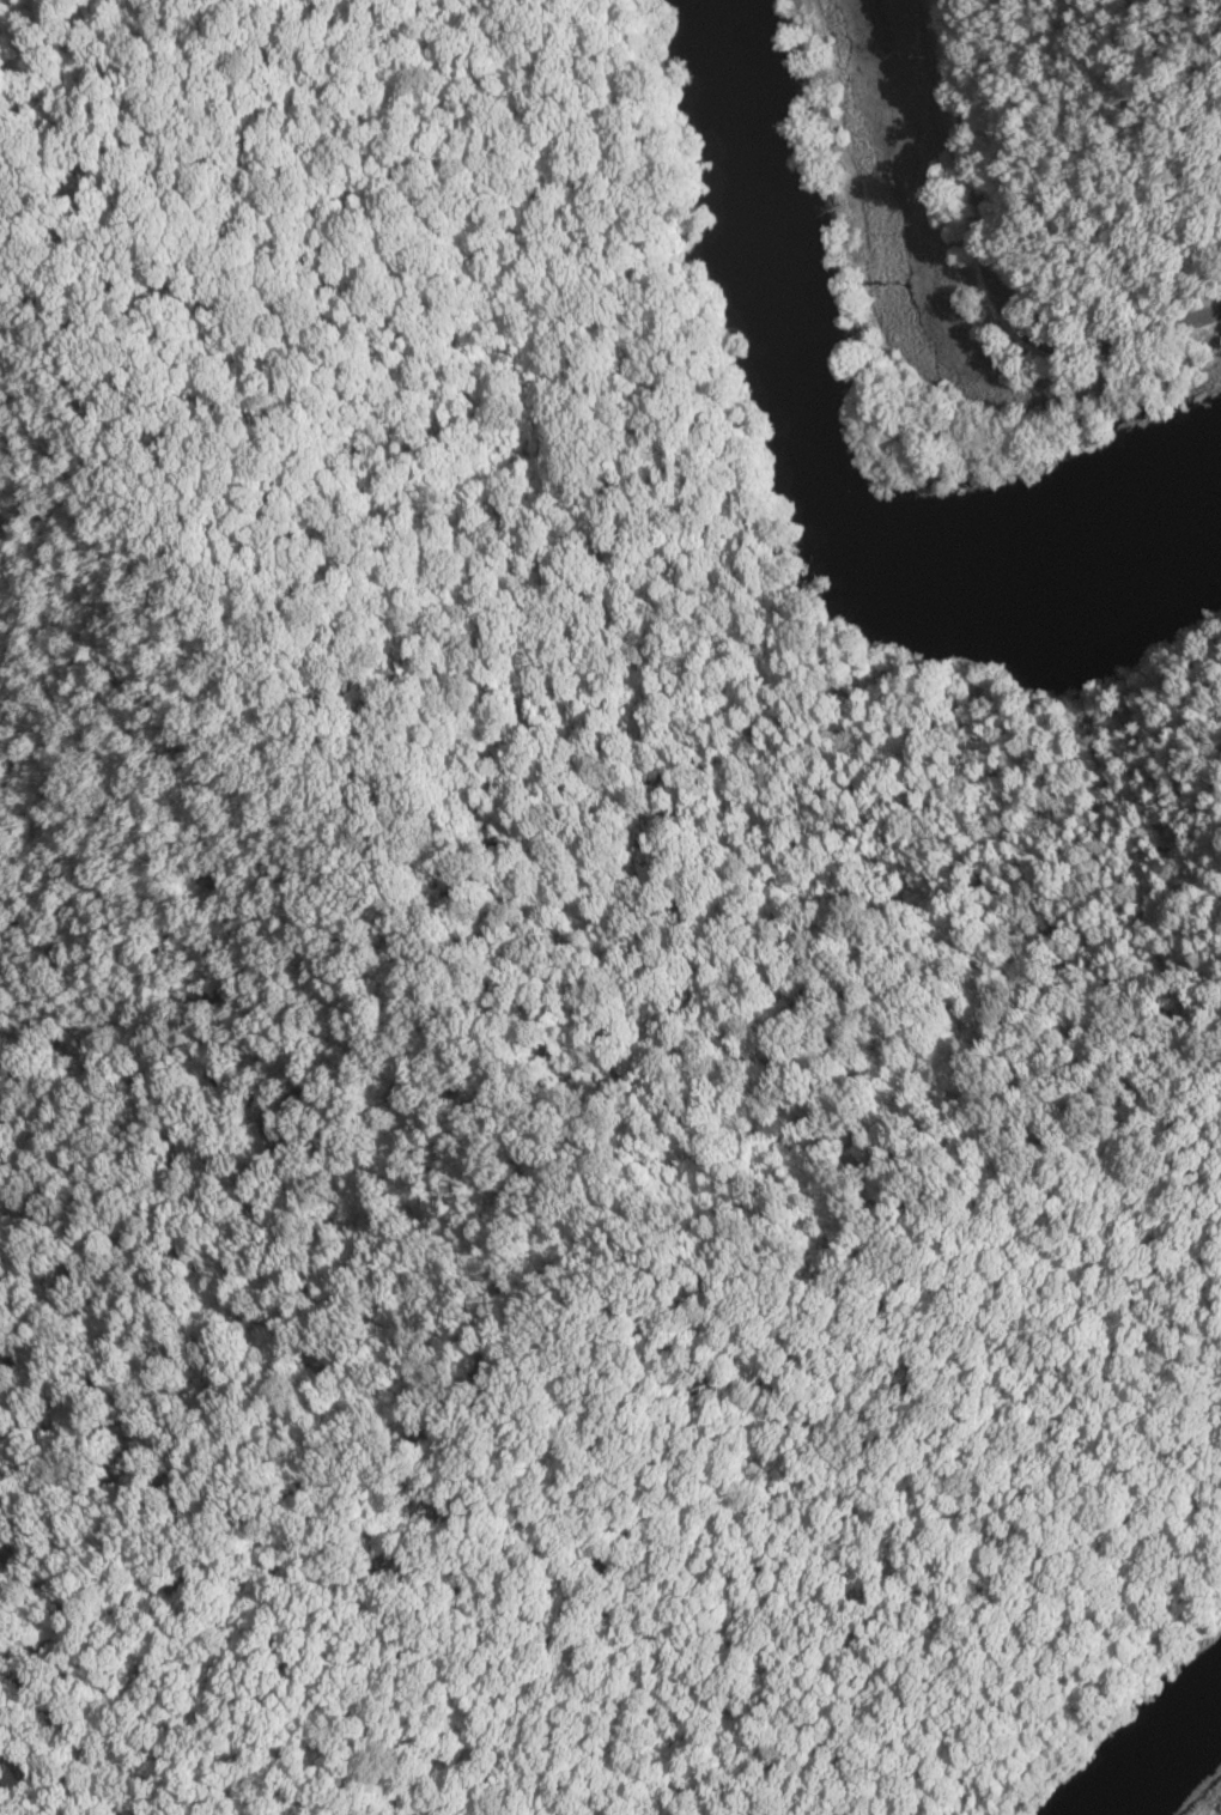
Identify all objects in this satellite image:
road: (989, 265)
river: (827, 462)
river: (1173, 1765)

